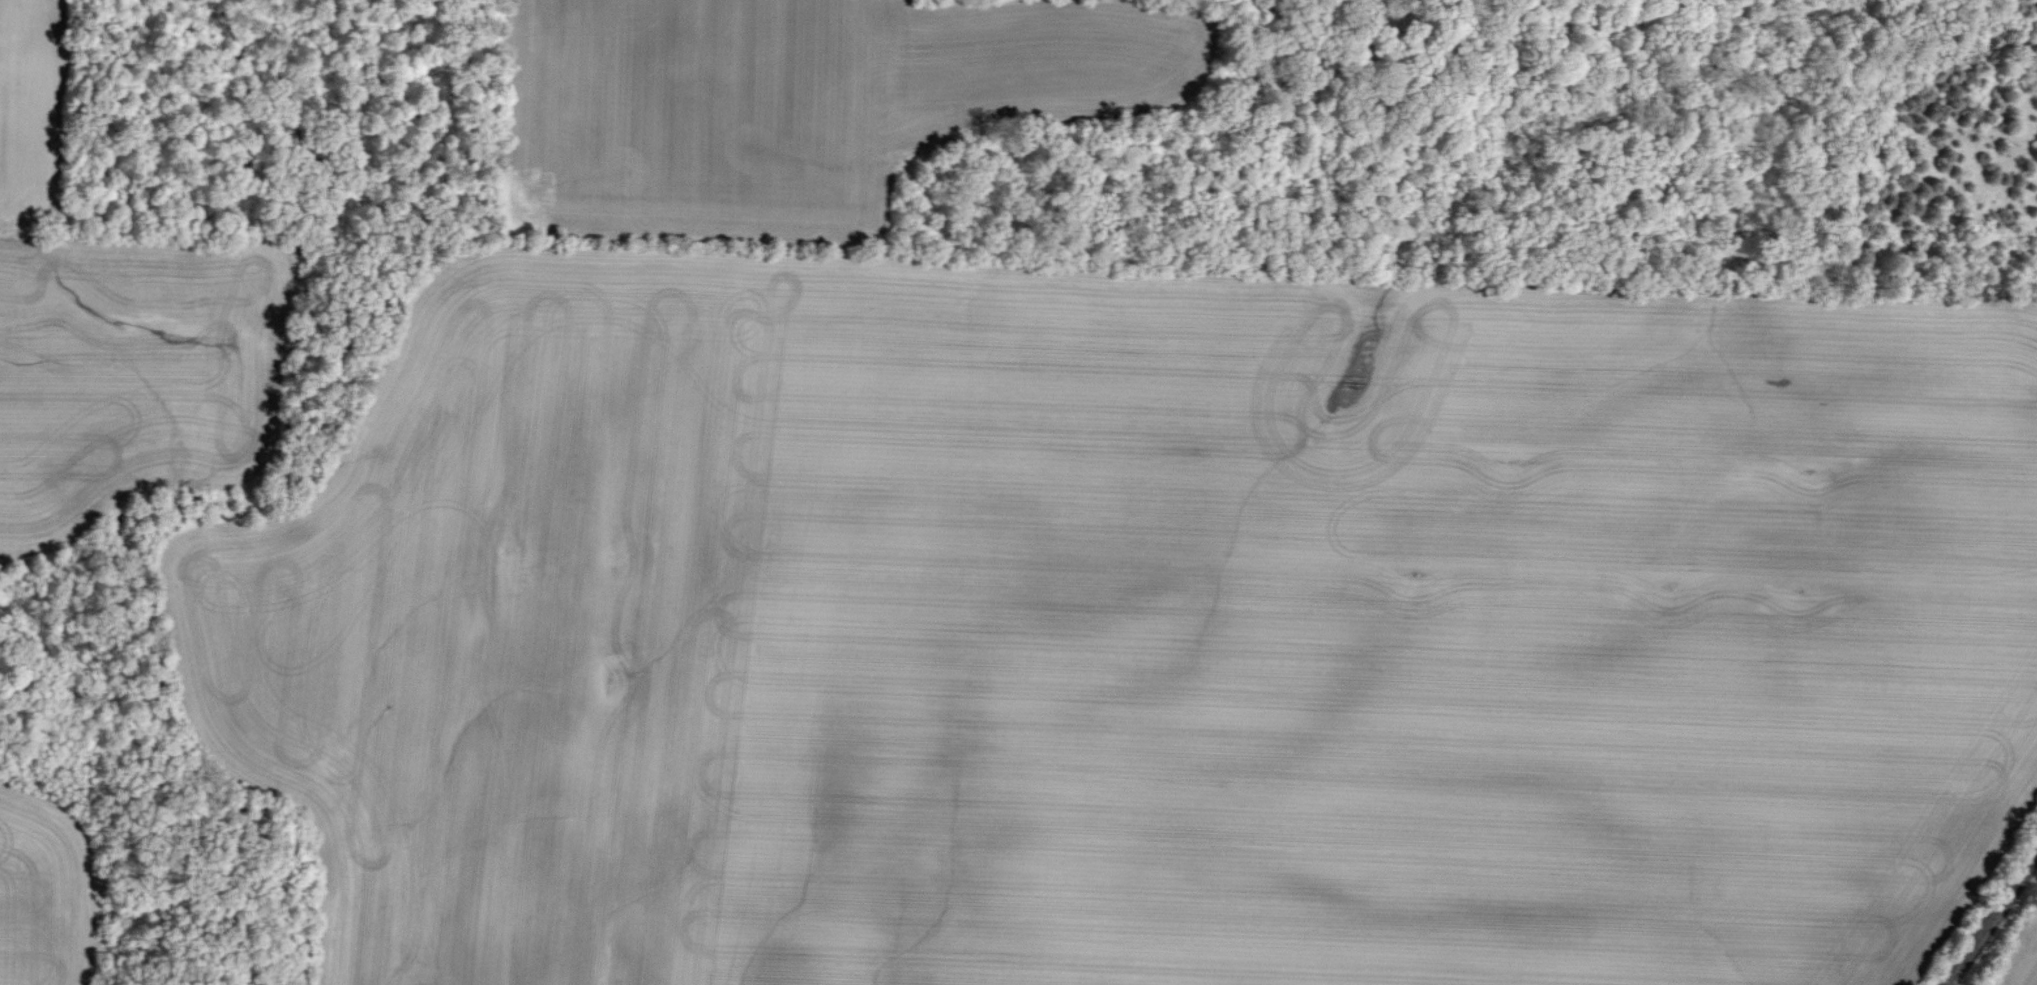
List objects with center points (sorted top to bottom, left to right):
railway: (1991, 916)

